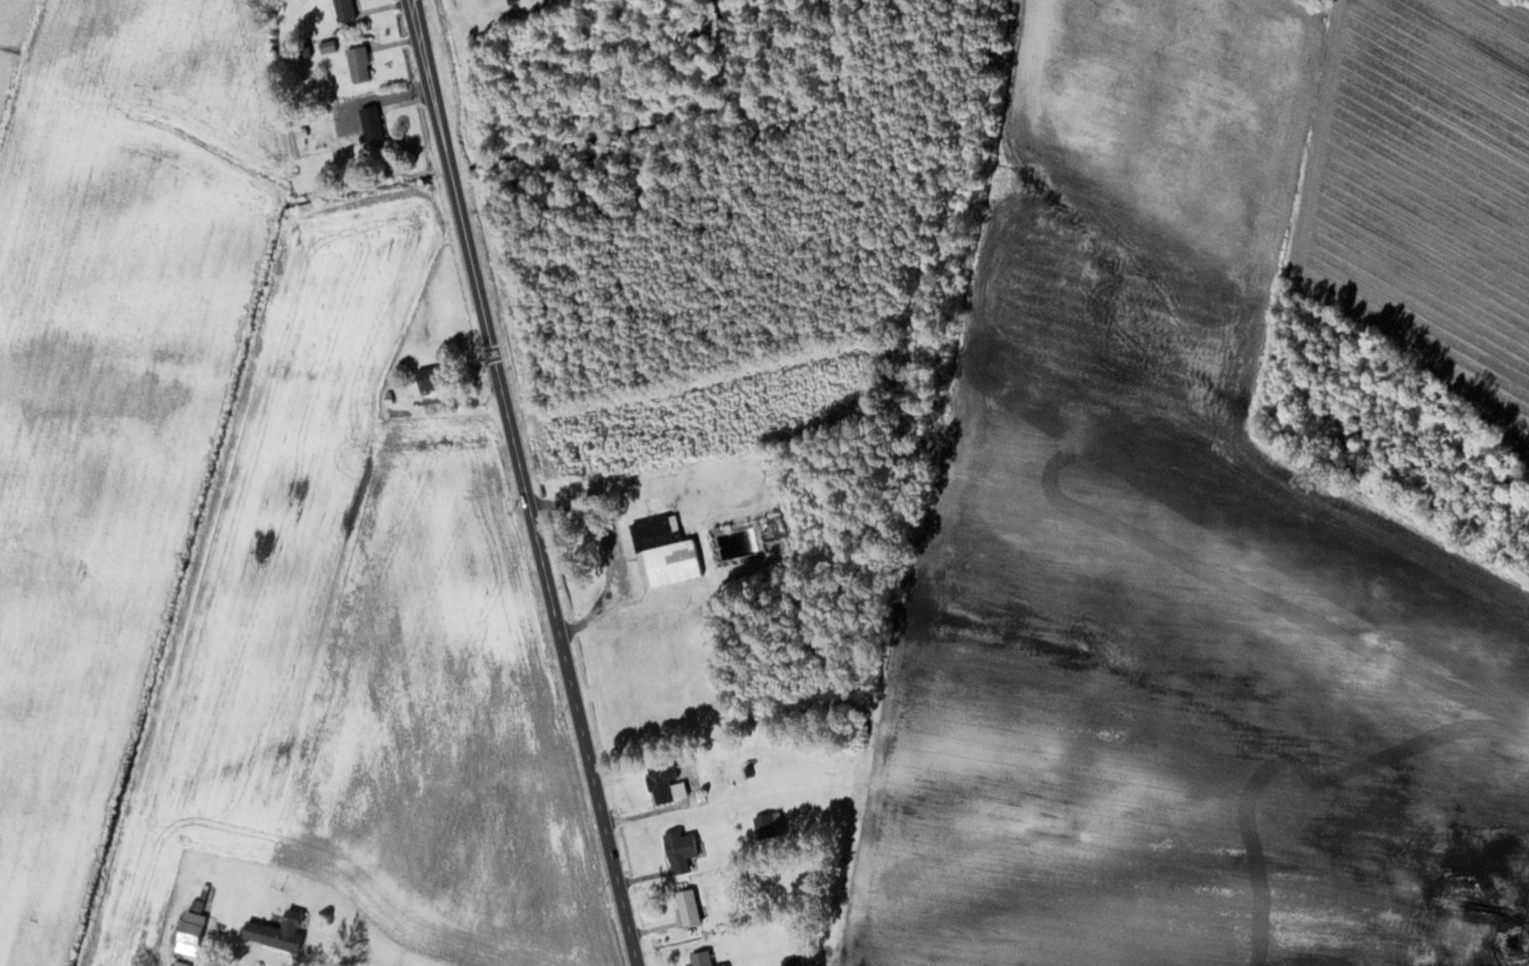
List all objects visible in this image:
building: (342, 9)
building: (357, 62)
building: (369, 122)
road: (524, 483)
building: (774, 526)
building: (664, 551)
building: (750, 770)
building: (659, 780)
building: (768, 824)
building: (678, 850)
building: (686, 906)
building: (274, 931)
building: (189, 932)
building: (700, 958)
building: (789, 961)

